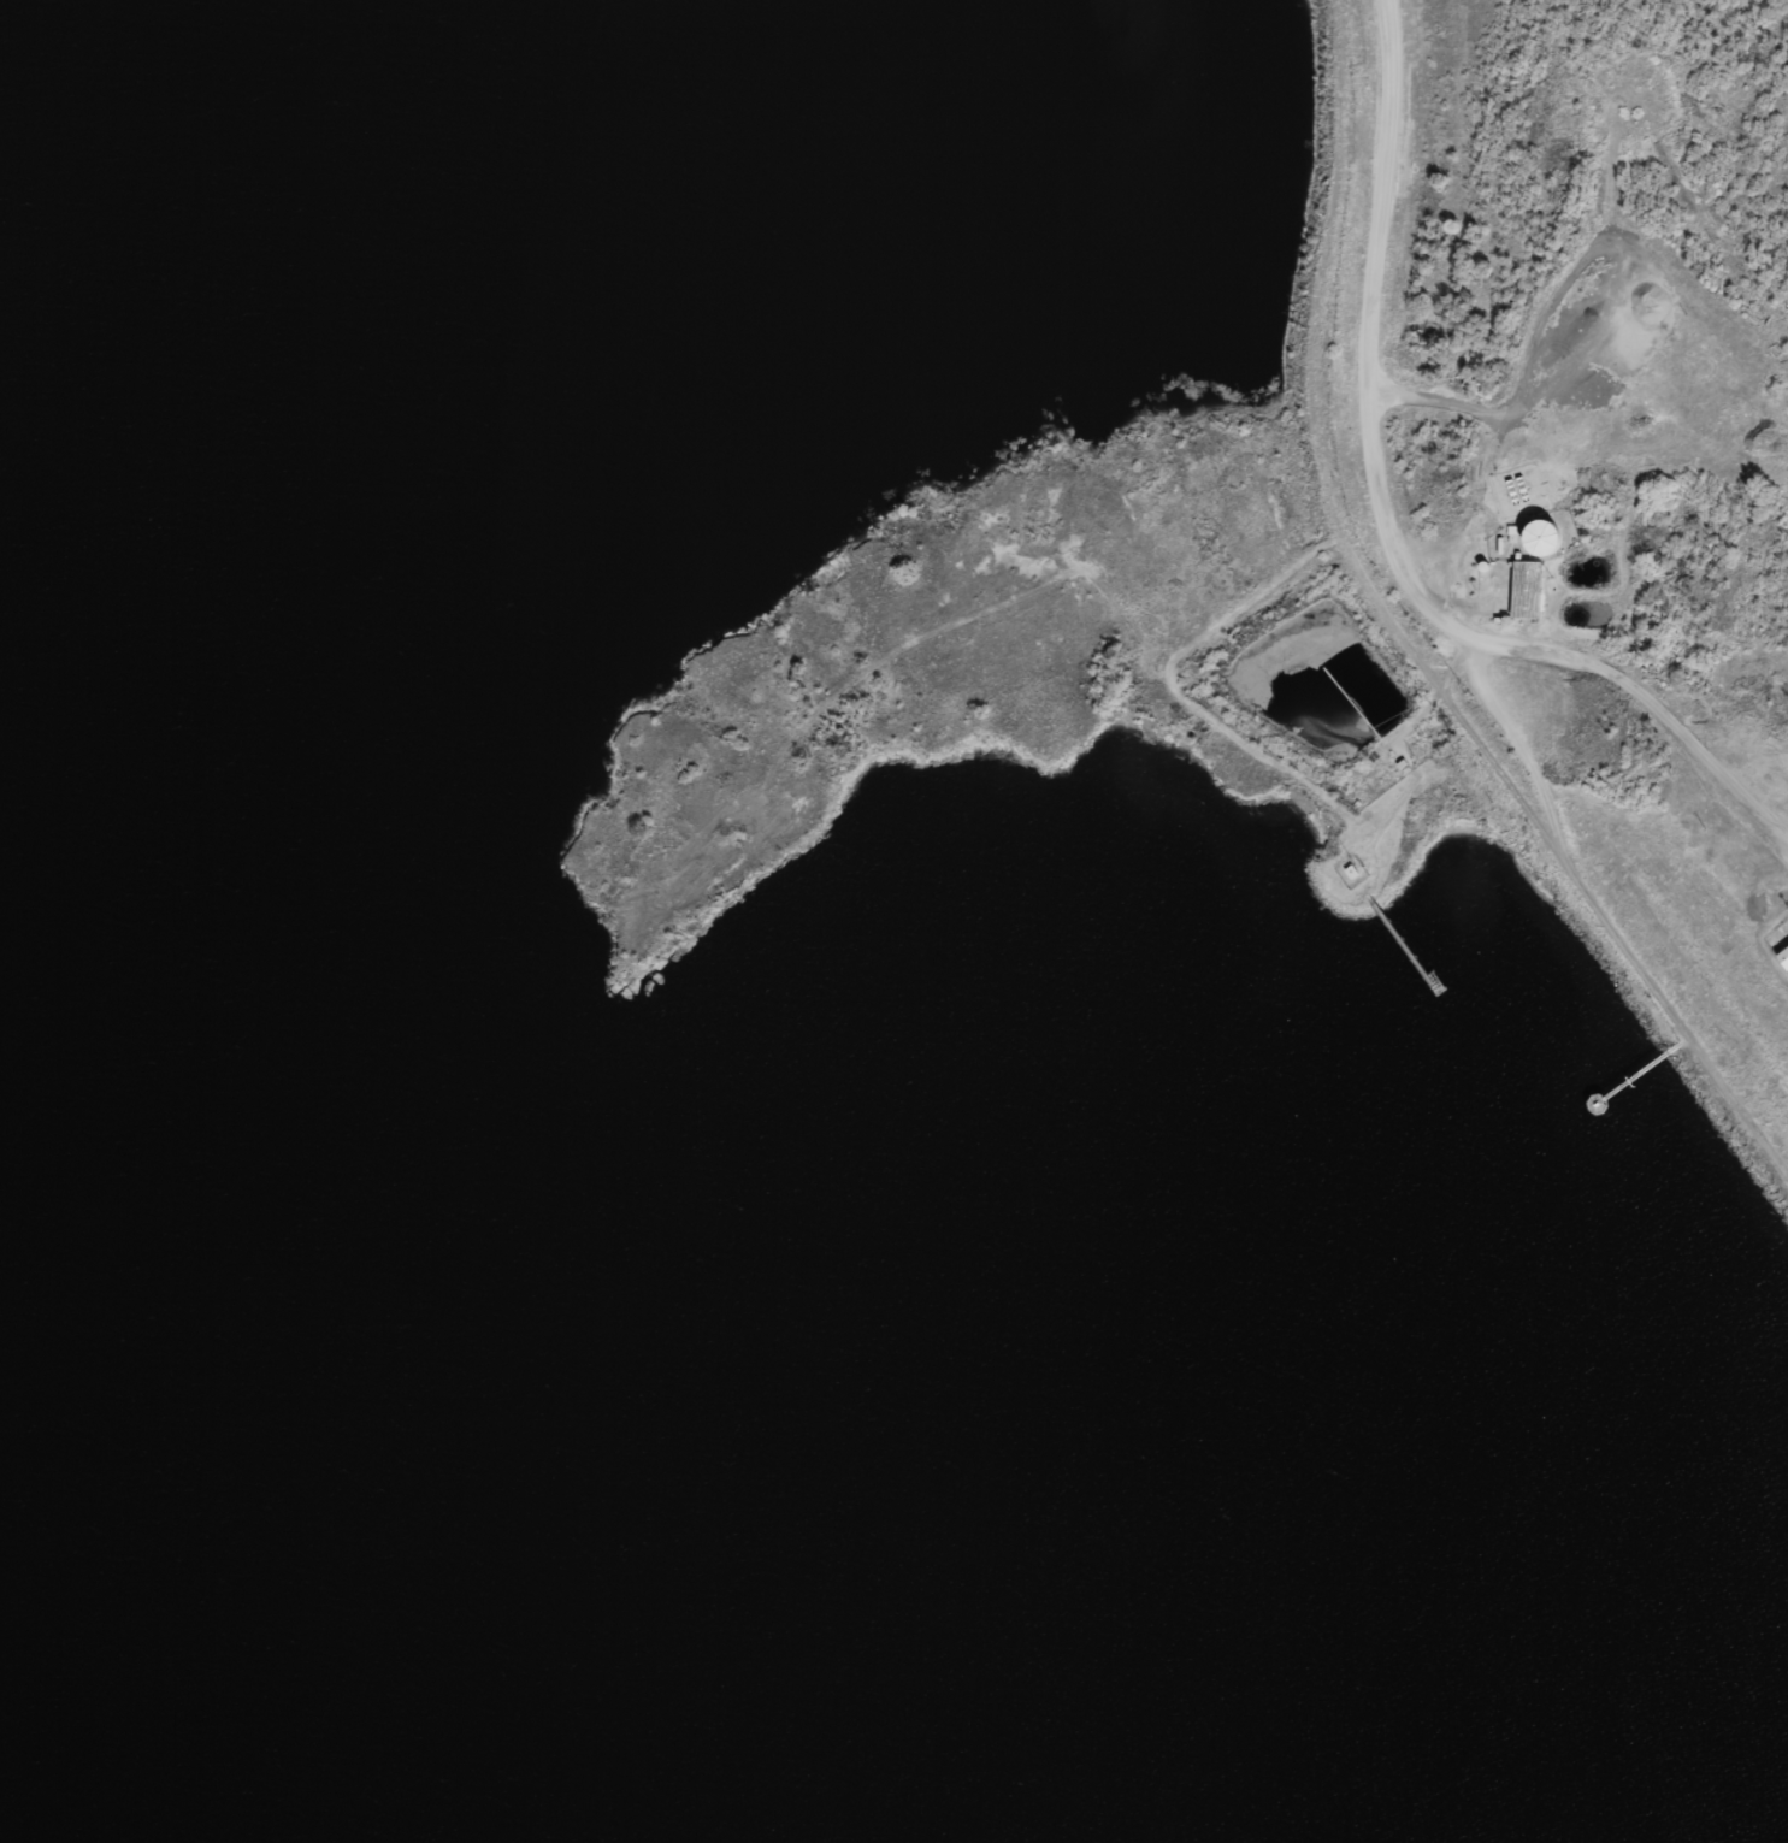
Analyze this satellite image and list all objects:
road: (1398, 524)
building: (1538, 536)
road: (1464, 575)
building: (1523, 589)
road: (1499, 597)
building: (1782, 957)

